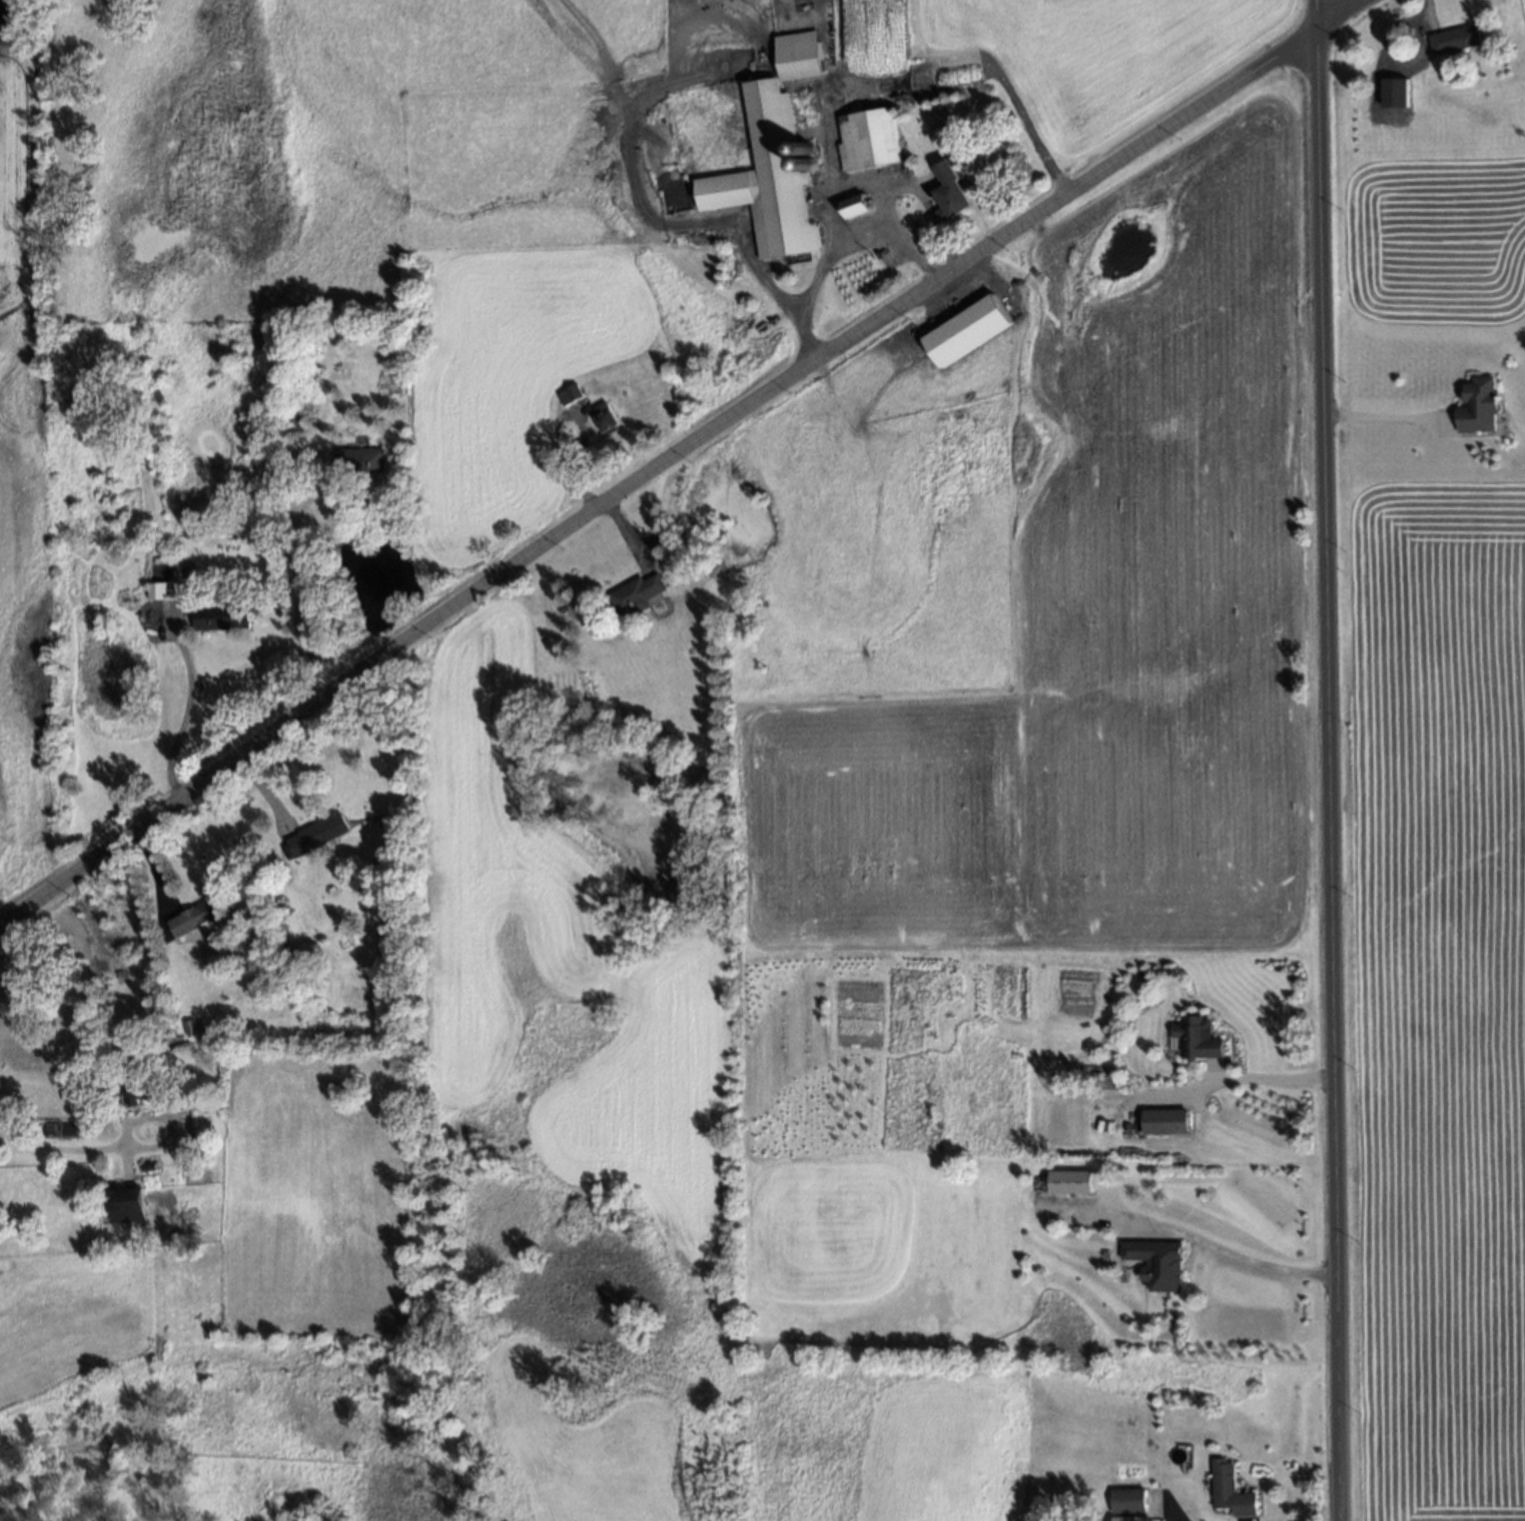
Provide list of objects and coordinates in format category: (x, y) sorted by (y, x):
road: (1314, 15)
building: (1455, 39)
building: (801, 56)
road: (859, 88)
building: (941, 133)
building: (873, 141)
building: (768, 180)
building: (949, 189)
building: (856, 207)
building: (921, 229)
road: (892, 241)
building: (998, 258)
building: (968, 316)
building: (568, 392)
building: (1481, 406)
road: (1383, 416)
building: (604, 417)
building: (291, 422)
road: (677, 454)
building: (359, 458)
road: (293, 538)
building: (156, 589)
building: (636, 590)
building: (221, 616)
road: (185, 713)
road: (1327, 776)
building: (319, 834)
building: (199, 915)
building: (297, 952)
building: (193, 1028)
building: (1196, 1039)
building: (1095, 1076)
road: (1250, 1077)
building: (136, 1080)
building: (1167, 1123)
building: (61, 1128)
road: (71, 1149)
building: (187, 1152)
building: (147, 1164)
building: (1065, 1184)
building: (99, 1187)
building: (126, 1203)
road: (1210, 1244)
building: (1156, 1265)
building: (1233, 1493)
building: (1131, 1502)

